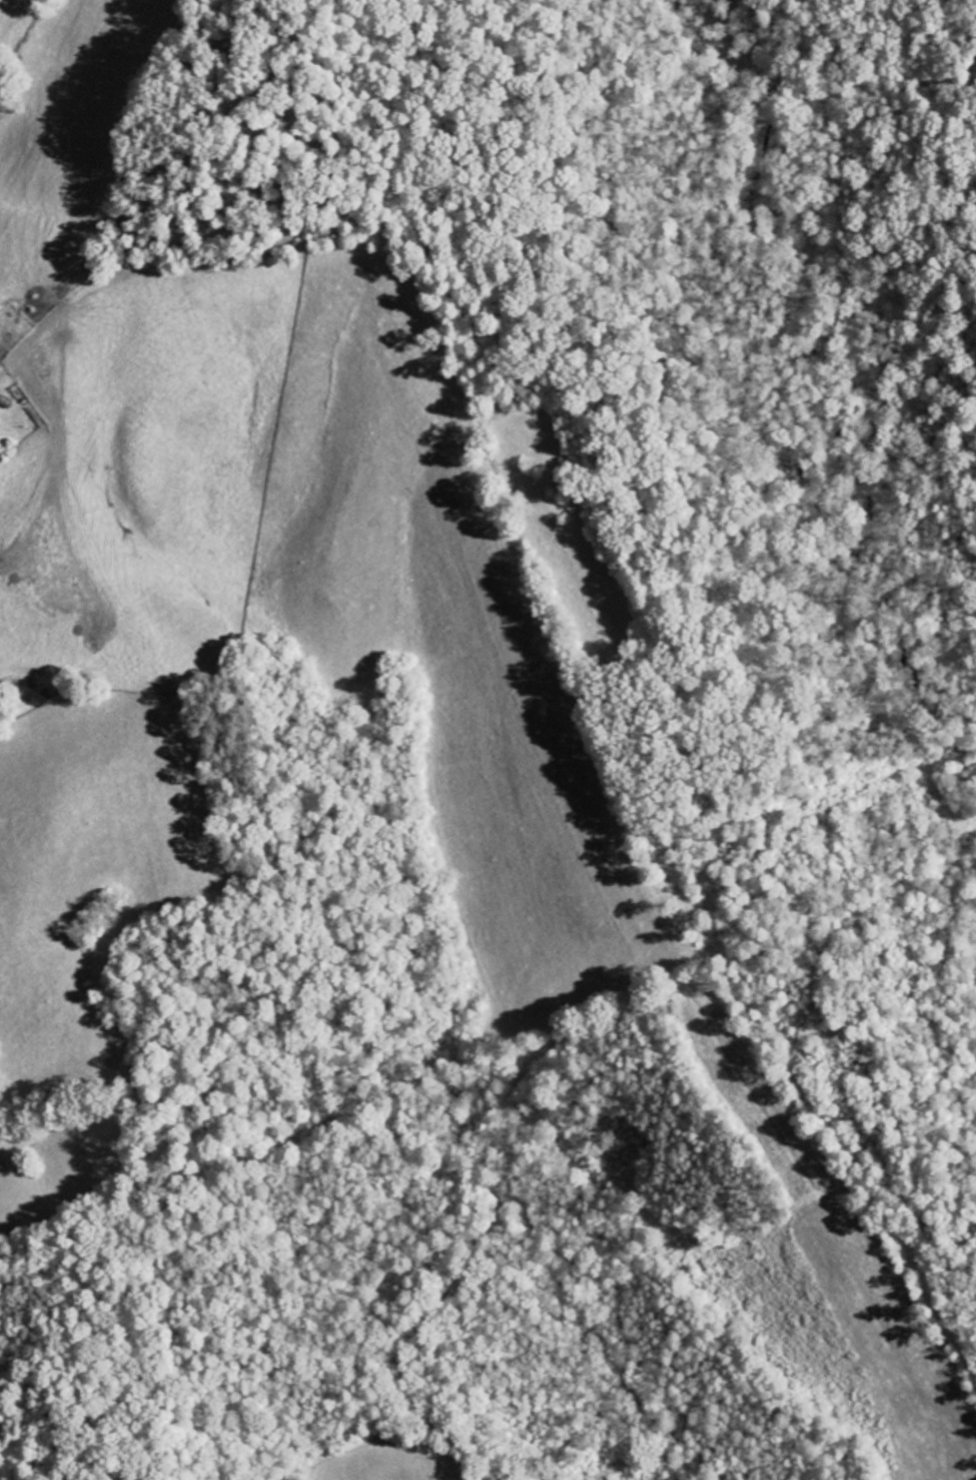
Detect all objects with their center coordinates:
road: (15, 358)
building: (0, 365)

